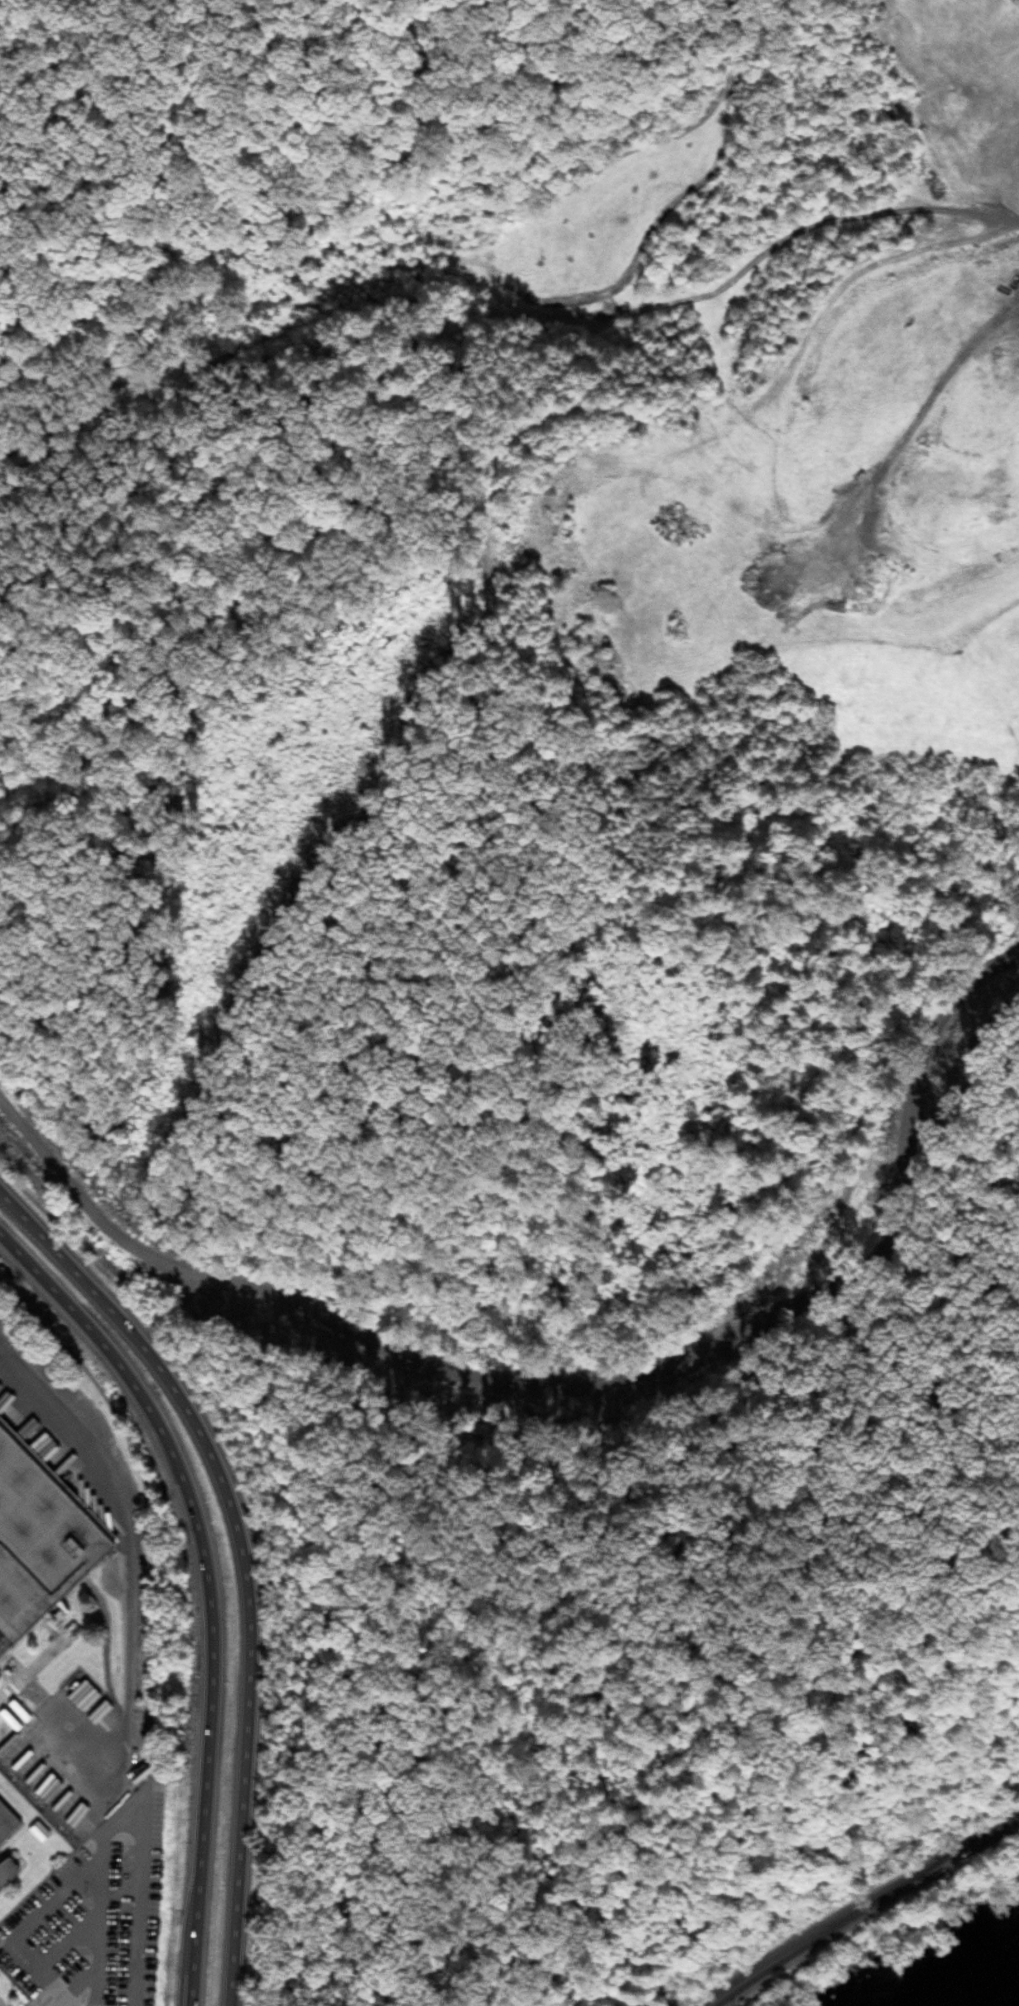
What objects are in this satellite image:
road: (98, 427)
road: (173, 1309)
road: (586, 1382)
building: (38, 1544)
road: (242, 1558)
road: (208, 1586)
road: (751, 1752)
building: (142, 1773)
building: (6, 1824)
building: (4, 1869)
railway: (842, 1897)
river: (988, 1987)

